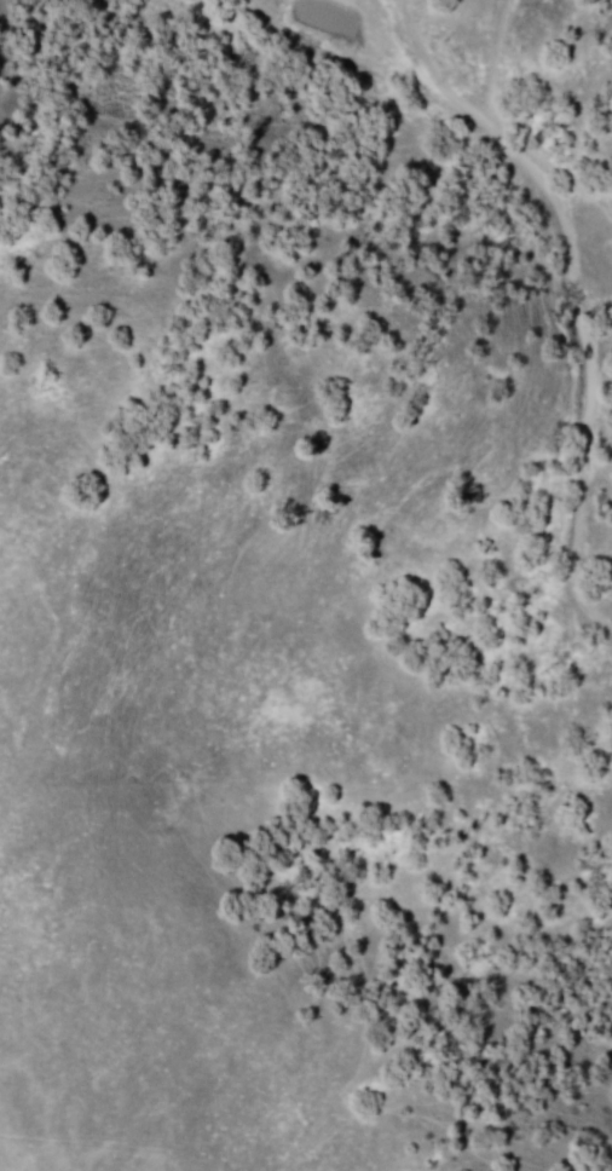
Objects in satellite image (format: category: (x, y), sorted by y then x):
road: (553, 145)

